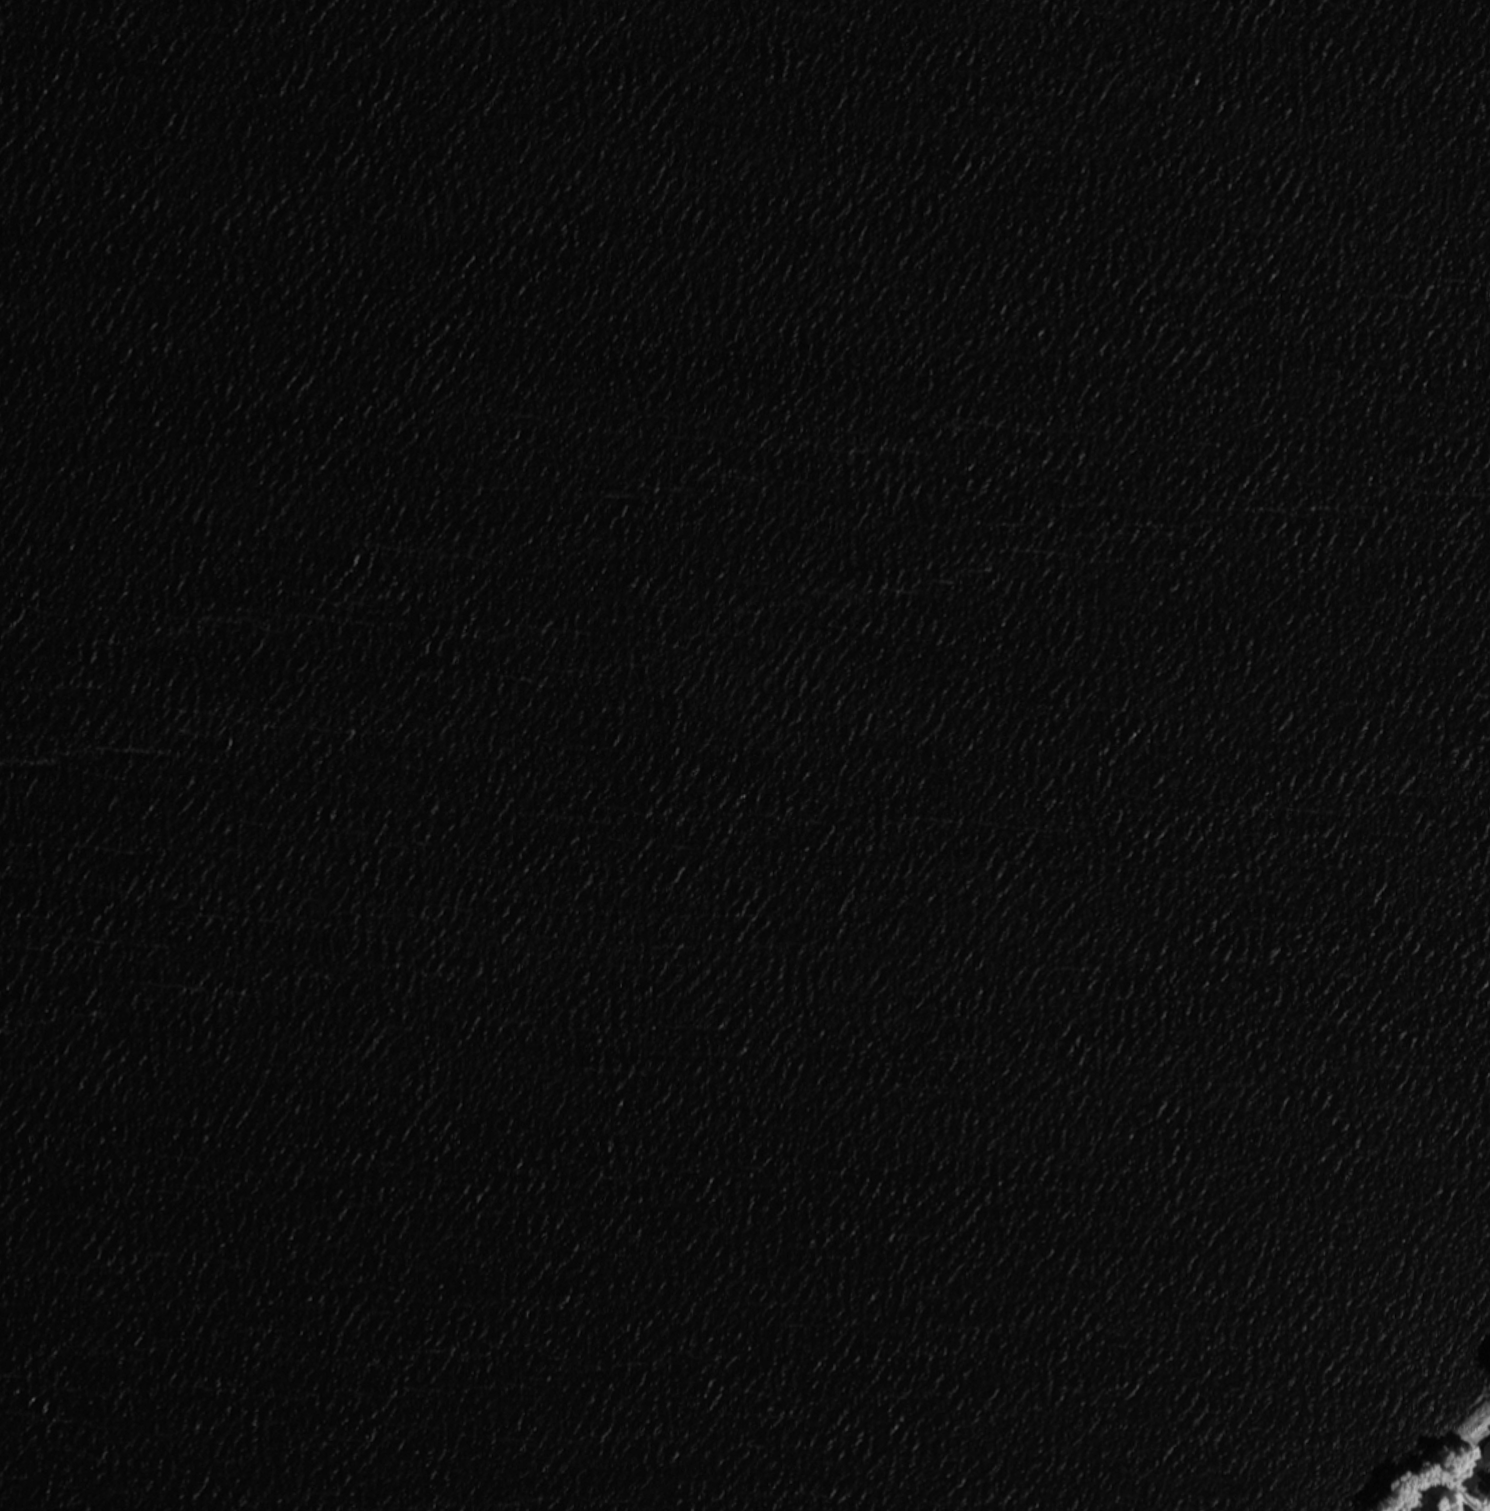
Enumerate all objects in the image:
building: (1479, 1477)
building: (1428, 1505)
building: (1470, 1509)

